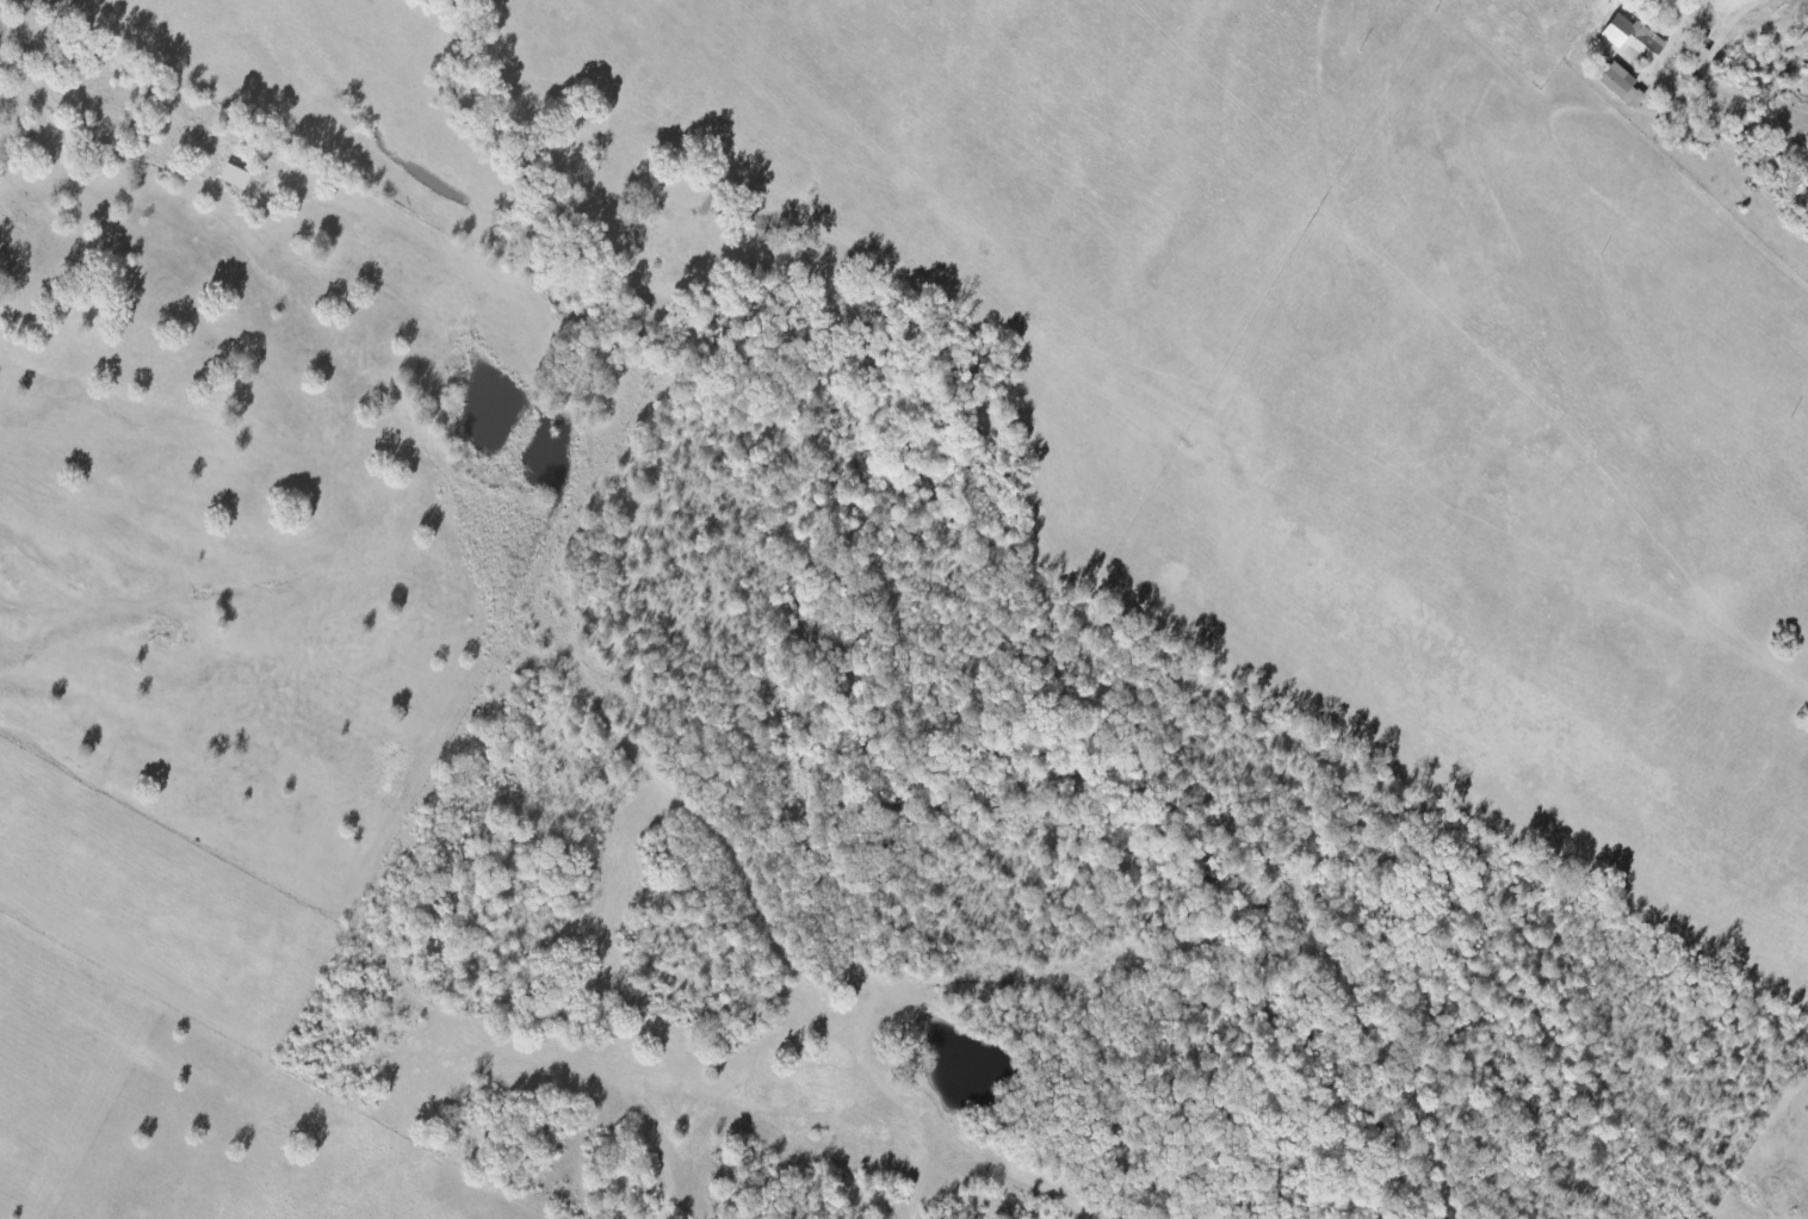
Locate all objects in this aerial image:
building: (1633, 37)
building: (1621, 83)
building: (235, 175)

